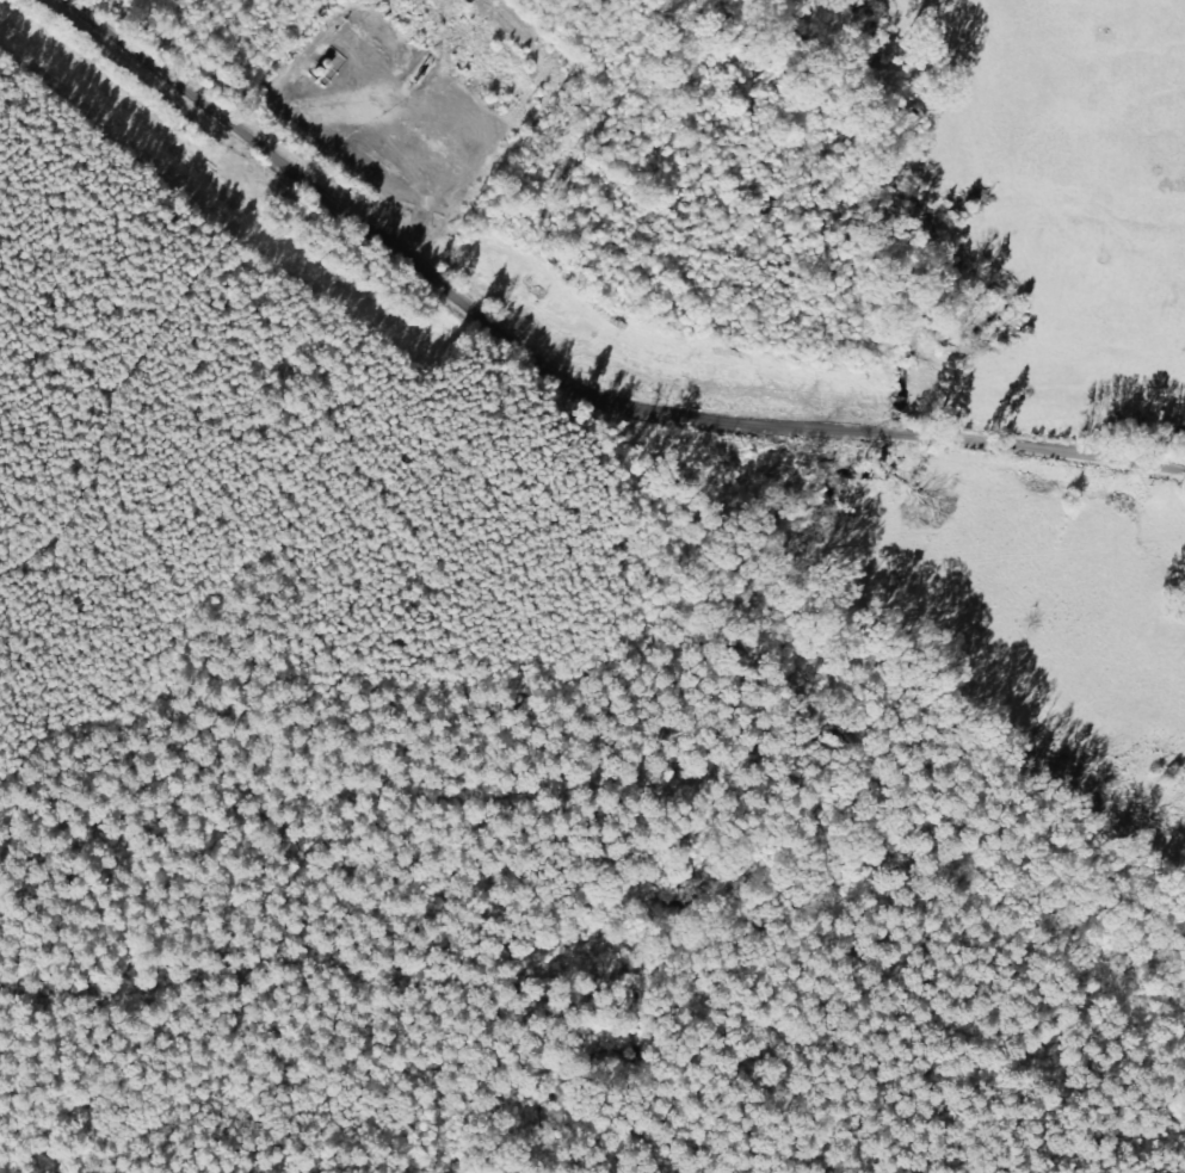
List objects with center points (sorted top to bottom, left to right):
road: (548, 385)

